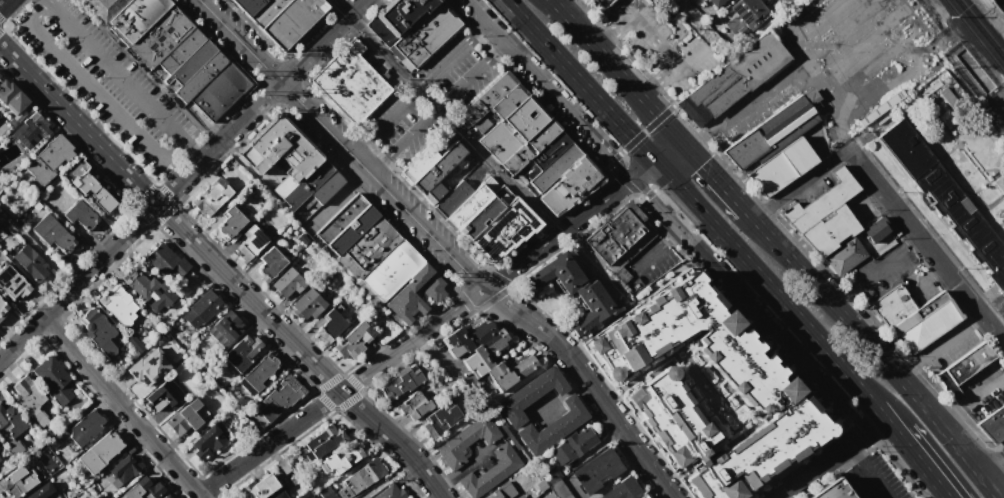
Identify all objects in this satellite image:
road: (44, 1)
railway: (1002, 2)
road: (3, 3)
road: (557, 3)
building: (602, 3)
building: (714, 3)
building: (102, 8)
building: (747, 11)
building: (280, 17)
building: (134, 18)
building: (396, 18)
road: (675, 22)
road: (480, 27)
railway: (982, 27)
building: (425, 34)
building: (158, 36)
railway: (974, 36)
road: (655, 37)
road: (240, 40)
road: (321, 40)
building: (179, 49)
road: (499, 49)
road: (690, 53)
building: (190, 62)
road: (114, 71)
road: (615, 71)
building: (157, 72)
building: (199, 77)
building: (732, 79)
railway: (1003, 81)
building: (349, 82)
parking lot: (109, 86)
road: (420, 86)
road: (770, 87)
building: (218, 92)
road: (95, 94)
building: (9, 98)
parking lot: (429, 98)
building: (484, 99)
building: (506, 102)
road: (438, 105)
road: (994, 114)
road: (444, 116)
building: (524, 119)
building: (485, 121)
building: (30, 132)
building: (541, 135)
building: (499, 141)
traffic signals: (636, 141)
road: (360, 146)
building: (775, 147)
road: (193, 149)
building: (277, 151)
road: (616, 153)
building: (543, 156)
building: (517, 158)
building: (49, 160)
traffic signals: (701, 163)
road: (378, 164)
building: (416, 164)
building: (437, 168)
building: (554, 168)
road: (717, 181)
road: (380, 183)
road: (799, 184)
building: (999, 184)
building: (304, 185)
building: (282, 187)
building: (325, 187)
building: (568, 188)
building: (93, 193)
building: (434, 193)
building: (209, 197)
building: (945, 198)
building: (451, 199)
road: (691, 201)
building: (471, 203)
building: (483, 213)
road: (668, 214)
road: (581, 215)
building: (1, 216)
building: (823, 216)
building: (1, 218)
building: (80, 218)
road: (139, 220)
building: (228, 223)
building: (346, 224)
building: (504, 231)
road: (914, 231)
building: (51, 234)
building: (877, 234)
building: (619, 236)
building: (247, 244)
road: (654, 244)
building: (366, 250)
building: (844, 257)
road: (594, 259)
building: (166, 262)
building: (29, 265)
building: (267, 265)
building: (391, 270)
road: (221, 271)
building: (556, 275)
road: (925, 277)
road: (861, 280)
building: (286, 284)
building: (11, 285)
road: (508, 287)
building: (150, 291)
building: (404, 296)
building: (118, 306)
building: (307, 306)
building: (2, 308)
building: (200, 309)
building: (590, 309)
building: (914, 317)
building: (328, 327)
road: (992, 327)
building: (224, 329)
building: (99, 332)
building: (465, 339)
road: (410, 340)
building: (353, 342)
road: (938, 343)
road: (869, 344)
building: (242, 351)
building: (484, 354)
building: (962, 369)
building: (259, 373)
building: (509, 374)
building: (140, 375)
building: (756, 379)
road: (587, 380)
building: (400, 383)
building: (58, 386)
building: (27, 394)
road: (969, 394)
building: (530, 397)
building: (278, 398)
building: (162, 399)
road: (122, 407)
building: (414, 407)
road: (878, 412)
building: (186, 418)
building: (439, 420)
building: (9, 423)
building: (993, 424)
building: (552, 428)
building: (85, 429)
building: (323, 440)
building: (55, 441)
building: (465, 441)
road: (269, 442)
building: (207, 443)
building: (572, 446)
building: (100, 453)
road: (850, 453)
road: (915, 457)
road: (828, 458)
building: (339, 459)
road: (1002, 462)
building: (280, 464)
road: (992, 467)
building: (125, 470)
building: (490, 473)
building: (596, 473)
building: (551, 474)
building: (364, 475)
road: (868, 479)
building: (17, 482)
building: (291, 482)
building: (257, 487)
road: (989, 487)
building: (143, 489)
building: (559, 490)
building: (620, 490)
building: (42, 492)
building: (387, 492)
building: (830, 492)
building: (326, 493)
building: (277, 495)
building: (304, 495)
building: (494, 495)
building: (162, 496)
road: (941, 496)
building: (166, 497)
building: (313, 497)
building: (642, 497)

